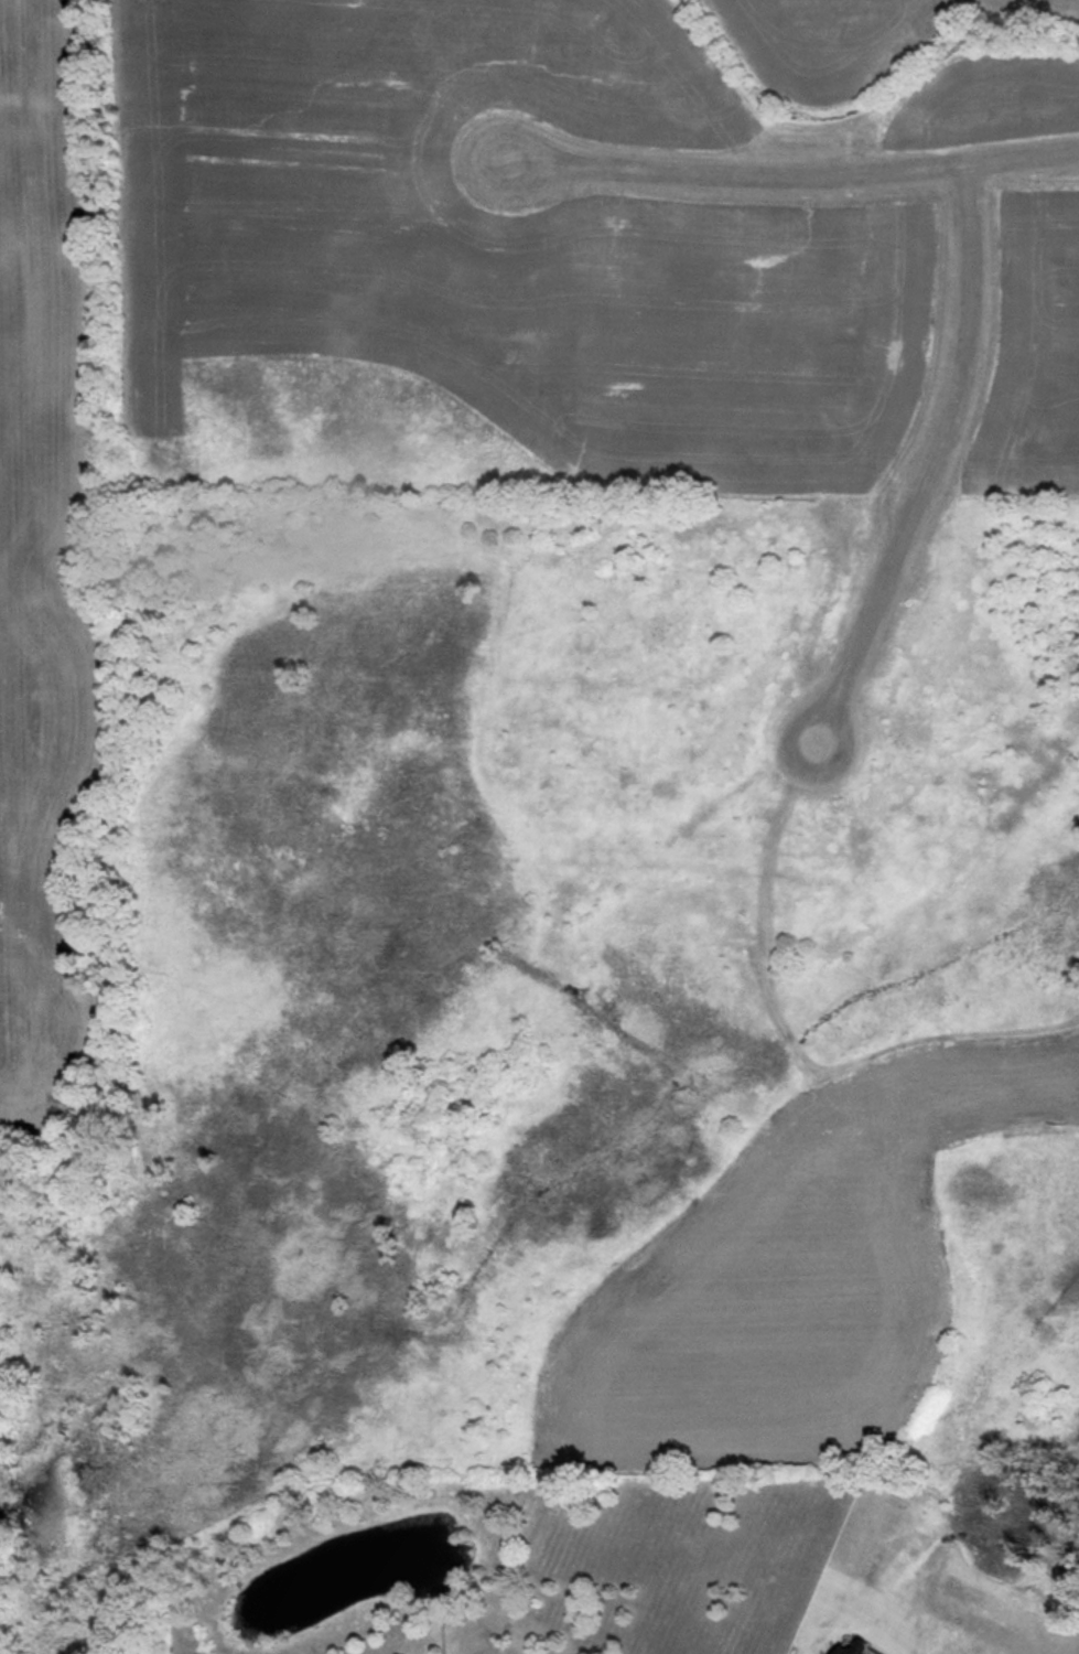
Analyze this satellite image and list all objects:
road: (800, 173)
road: (929, 464)

